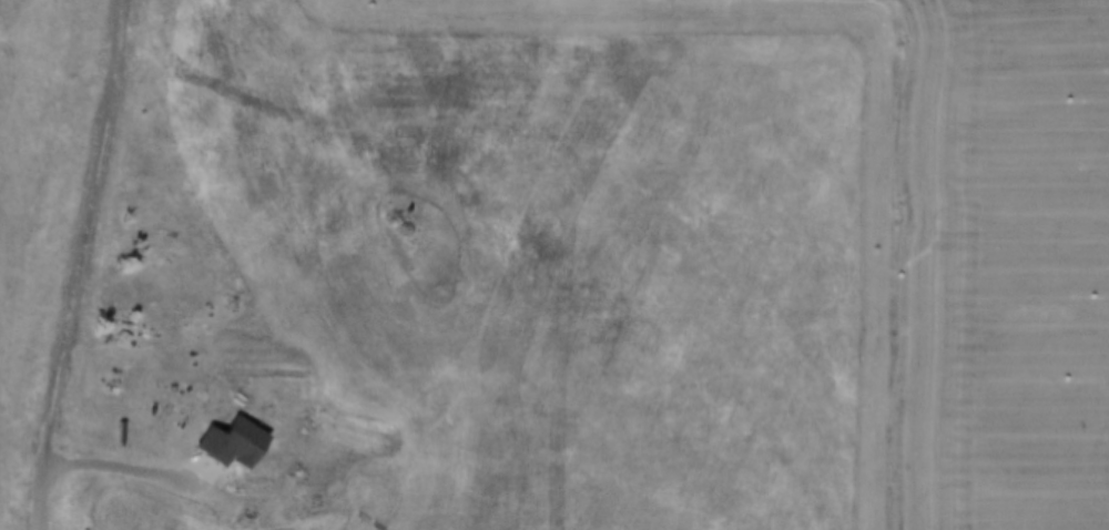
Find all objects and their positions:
road: (78, 265)
building: (242, 442)

